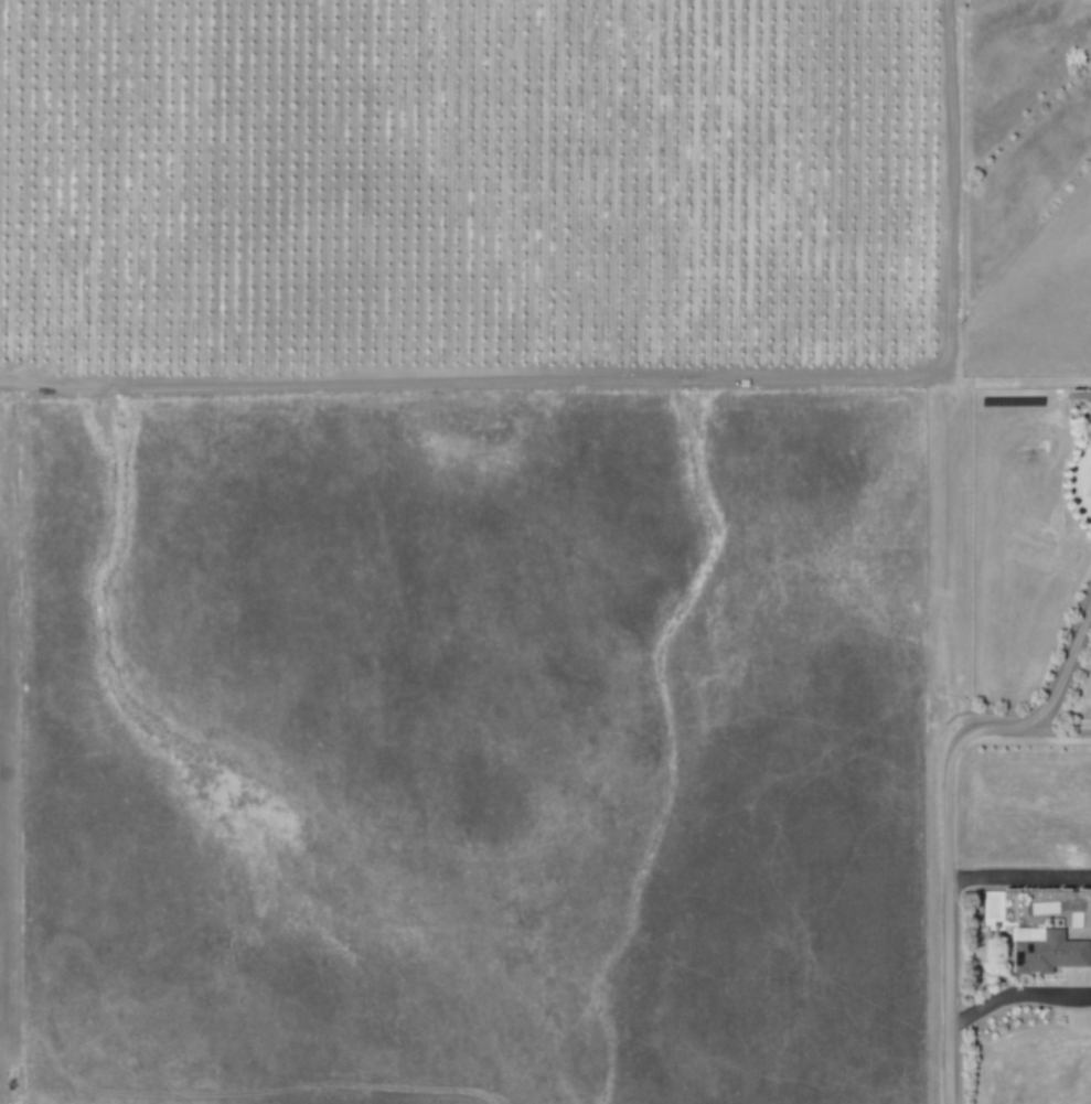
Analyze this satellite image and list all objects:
building: (1089, 482)
road: (1062, 731)
road: (945, 811)
road: (1017, 878)
building: (1042, 951)
road: (1015, 995)

